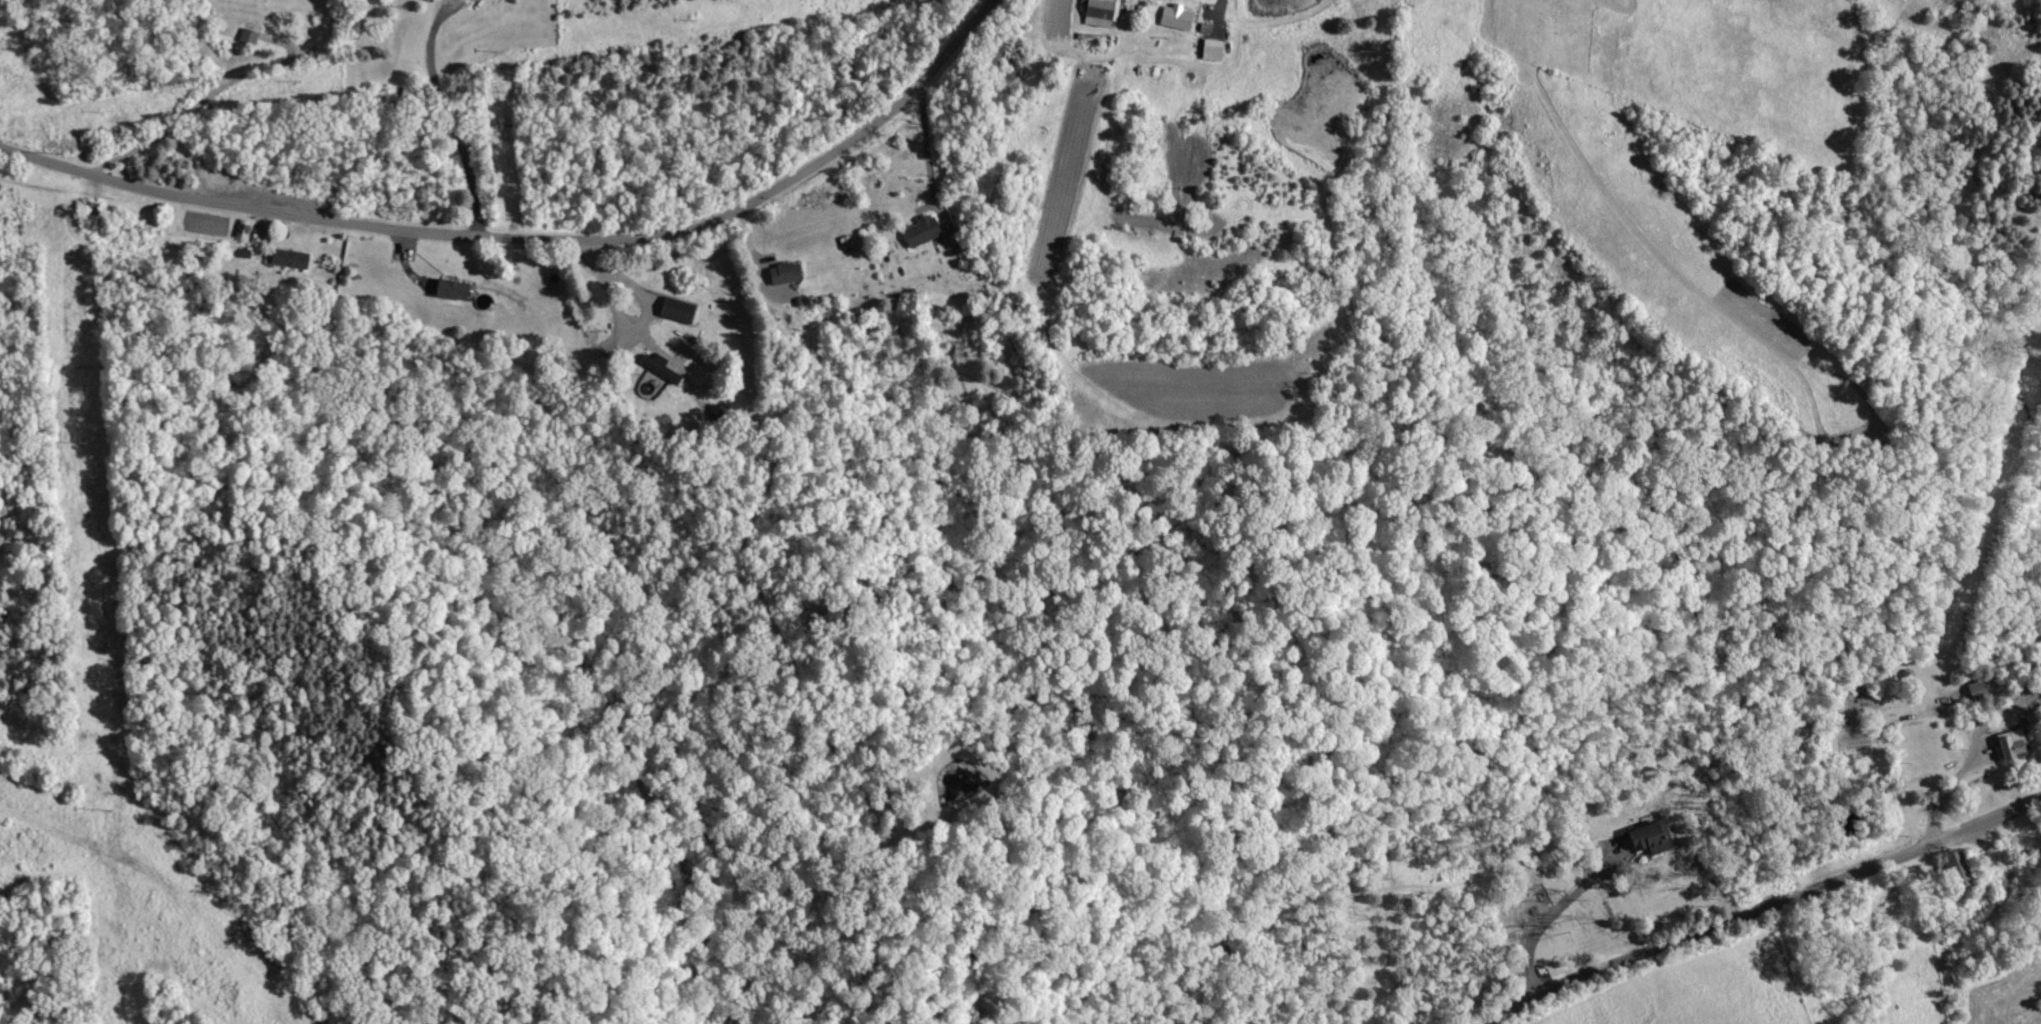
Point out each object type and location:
road: (1216, 10)
building: (1099, 12)
building: (1174, 17)
building: (252, 36)
building: (1209, 49)
road: (445, 118)
road: (174, 120)
road: (927, 156)
building: (918, 231)
road: (533, 237)
building: (295, 259)
building: (791, 273)
building: (457, 290)
road: (608, 290)
building: (1976, 690)
building: (2007, 744)
building: (1644, 838)
building: (1951, 870)
road: (1759, 900)
road: (1541, 922)

